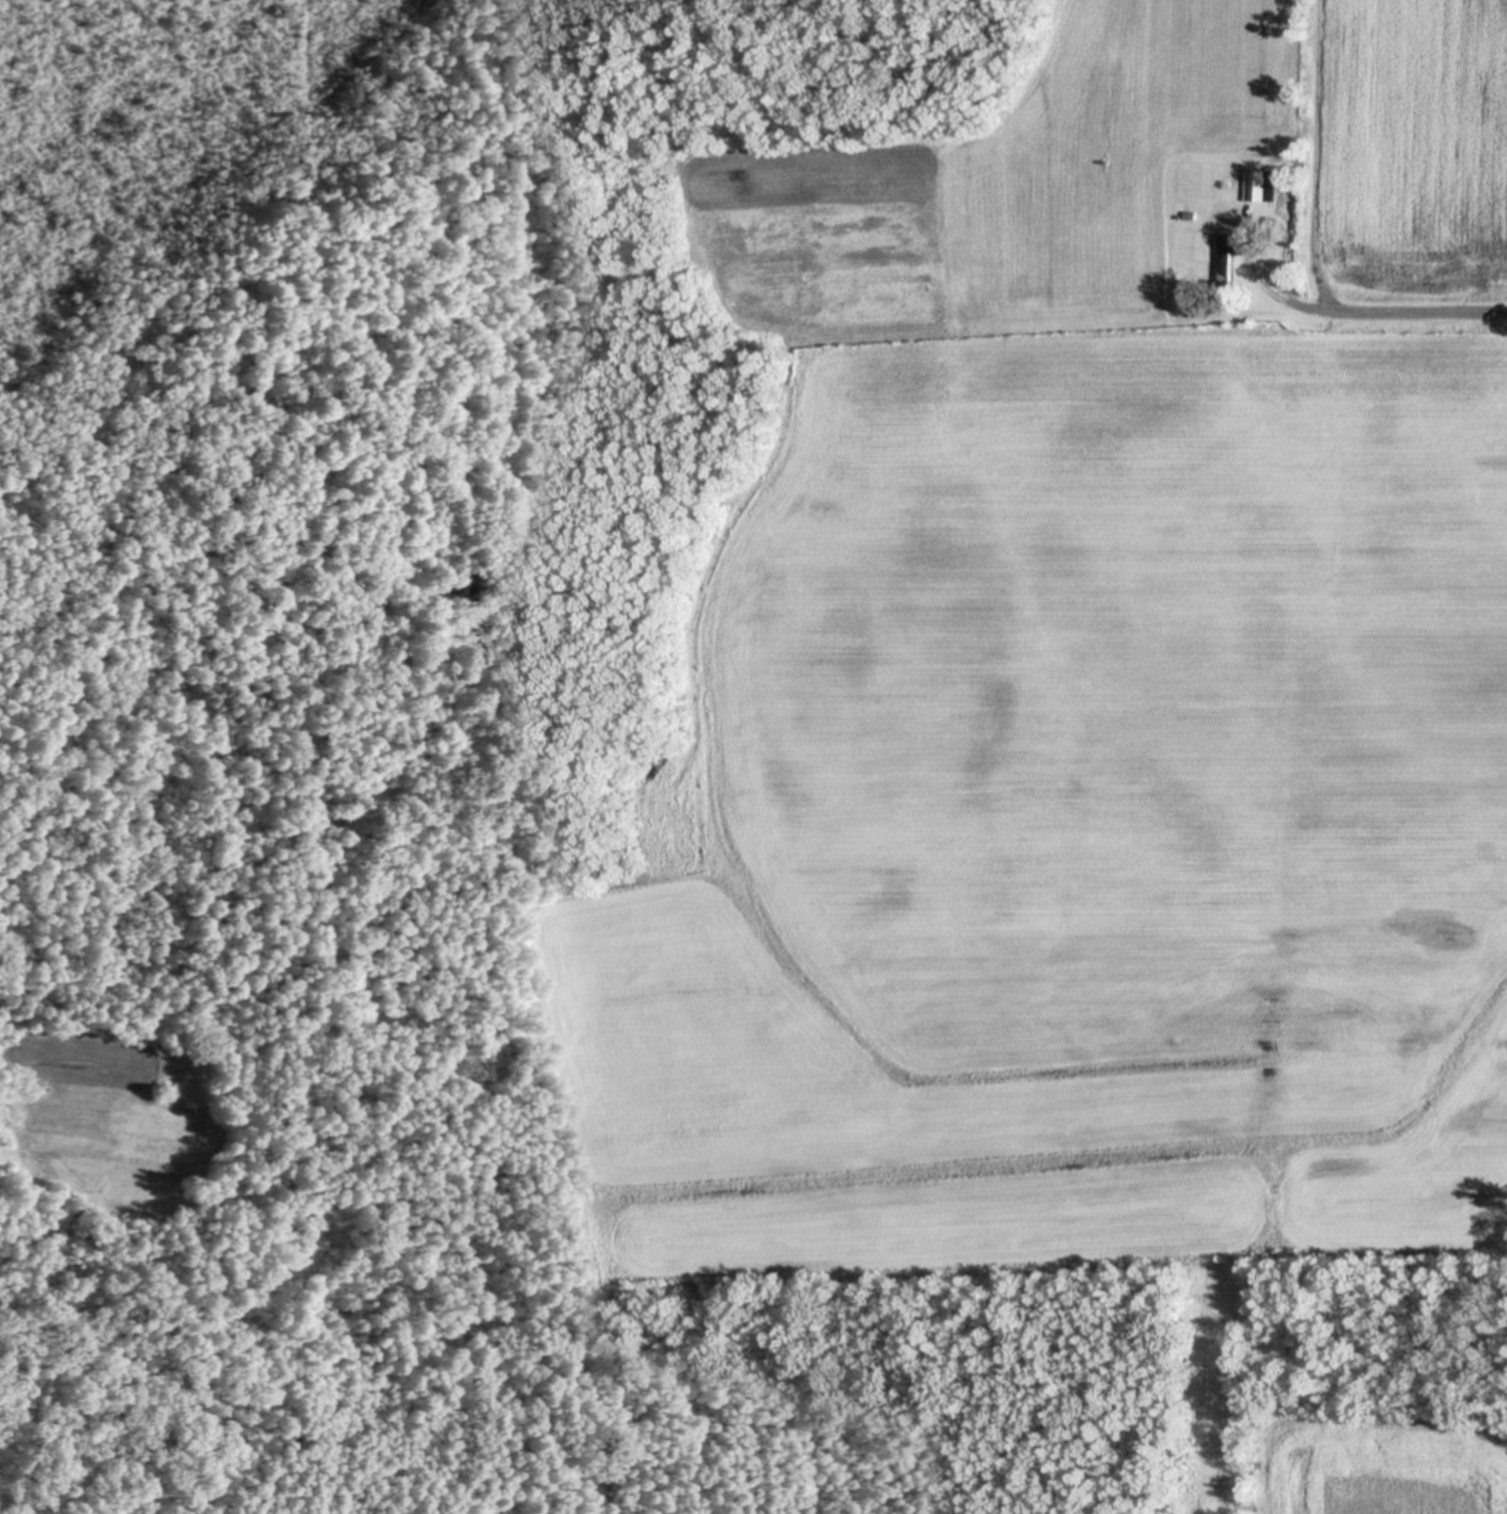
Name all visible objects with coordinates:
building: (1263, 182)
building: (1194, 213)
building: (1230, 255)
road: (1422, 310)

